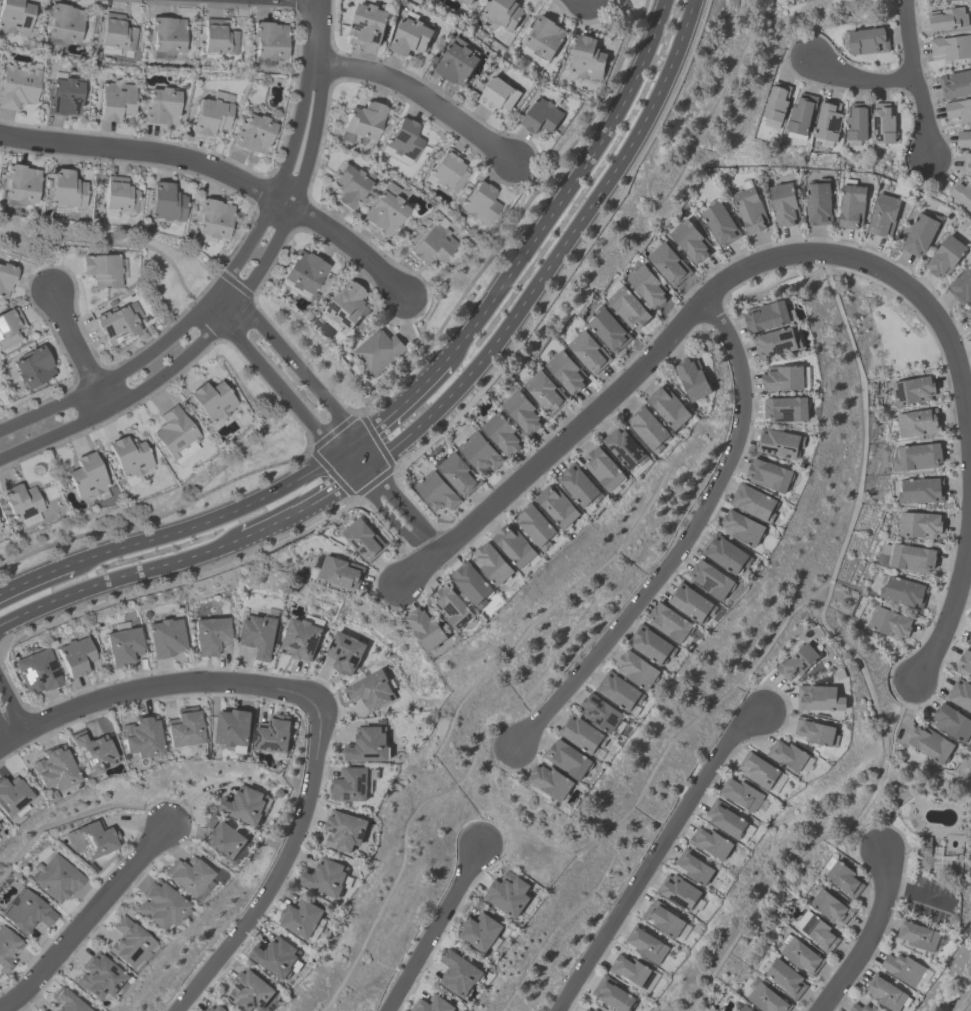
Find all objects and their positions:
building: (465, 1)
building: (503, 13)
building: (14, 16)
building: (948, 17)
building: (369, 22)
building: (62, 23)
road: (317, 31)
building: (116, 32)
building: (166, 35)
building: (410, 36)
building: (544, 36)
building: (217, 38)
building: (868, 39)
building: (268, 40)
building: (952, 46)
building: (586, 58)
building: (456, 62)
road: (859, 77)
road: (914, 80)
building: (955, 82)
building: (17, 86)
building: (498, 94)
road: (421, 96)
building: (63, 97)
building: (114, 100)
building: (776, 101)
building: (160, 107)
building: (959, 108)
building: (801, 111)
building: (541, 115)
building: (210, 116)
building: (827, 119)
building: (857, 120)
building: (361, 122)
building: (882, 122)
road: (296, 130)
building: (253, 133)
road: (313, 135)
building: (964, 136)
building: (403, 139)
road: (150, 153)
building: (966, 161)
building: (447, 170)
building: (19, 183)
building: (347, 185)
road: (566, 188)
building: (64, 190)
building: (962, 192)
building: (118, 195)
building: (818, 201)
building: (164, 202)
building: (479, 203)
building: (784, 203)
building: (852, 205)
building: (750, 209)
building: (384, 210)
building: (883, 214)
building: (212, 218)
building: (719, 223)
building: (920, 233)
building: (690, 240)
building: (432, 242)
road: (350, 245)
road: (113, 246)
road: (559, 249)
road: (833, 253)
building: (945, 255)
road: (50, 259)
building: (667, 263)
building: (101, 270)
building: (302, 271)
building: (5, 278)
park: (771, 283)
building: (646, 285)
building: (962, 285)
building: (345, 305)
building: (627, 307)
building: (968, 314)
building: (768, 315)
building: (116, 322)
building: (8, 327)
building: (606, 328)
park: (883, 328)
road: (161, 341)
building: (776, 342)
road: (77, 350)
building: (378, 350)
building: (588, 351)
road: (174, 364)
building: (32, 367)
building: (565, 371)
building: (692, 377)
building: (783, 377)
building: (912, 389)
building: (544, 391)
building: (211, 401)
road: (401, 403)
building: (668, 406)
building: (786, 408)
building: (522, 411)
road: (334, 412)
building: (917, 422)
building: (647, 427)
road: (316, 429)
building: (502, 432)
building: (175, 435)
building: (779, 442)
building: (625, 447)
building: (479, 451)
building: (915, 456)
building: (129, 457)
building: (604, 469)
building: (458, 473)
building: (769, 474)
building: (85, 476)
building: (579, 484)
building: (920, 489)
building: (435, 491)
building: (21, 501)
road: (310, 501)
building: (754, 501)
building: (557, 505)
road: (219, 516)
building: (919, 523)
building: (534, 525)
building: (741, 527)
building: (0, 531)
building: (363, 538)
road: (684, 539)
building: (514, 544)
building: (726, 552)
building: (912, 557)
building: (492, 563)
road: (419, 564)
building: (338, 569)
road: (120, 577)
road: (34, 578)
building: (710, 579)
building: (471, 583)
building: (903, 590)
building: (690, 602)
building: (452, 606)
building: (669, 621)
building: (889, 622)
building: (426, 627)
building: (259, 634)
building: (209, 635)
building: (302, 636)
building: (164, 638)
building: (969, 639)
building: (651, 644)
building: (122, 646)
building: (344, 651)
building: (75, 656)
building: (797, 661)
building: (965, 662)
building: (636, 668)
building: (37, 671)
road: (152, 684)
building: (370, 689)
building: (619, 690)
building: (960, 693)
building: (819, 697)
building: (600, 712)
building: (952, 721)
road: (6, 723)
building: (183, 727)
building: (233, 727)
building: (814, 730)
building: (582, 733)
building: (272, 734)
building: (140, 737)
building: (930, 743)
building: (367, 744)
building: (90, 752)
building: (788, 753)
building: (568, 758)
building: (52, 768)
building: (758, 769)
building: (551, 781)
building: (352, 783)
building: (741, 793)
building: (11, 796)
building: (244, 804)
building: (726, 818)
building: (343, 829)
building: (0, 831)
building: (92, 838)
building: (223, 841)
building: (710, 841)
road: (653, 855)
building: (693, 865)
road: (279, 868)
building: (185, 875)
building: (325, 876)
building: (842, 877)
building: (56, 878)
building: (678, 891)
building: (508, 892)
road: (918, 894)
building: (159, 906)
building: (831, 906)
building: (27, 912)
building: (301, 917)
building: (662, 917)
road: (87, 920)
road: (433, 928)
building: (816, 930)
building: (479, 931)
building: (917, 933)
road: (868, 934)
building: (127, 943)
building: (646, 943)
building: (7, 949)
building: (800, 954)
building: (276, 956)
building: (903, 967)
building: (629, 968)
building: (458, 972)
building: (98, 977)
building: (785, 977)
building: (249, 990)
building: (886, 992)
building: (612, 994)
building: (767, 998)
building: (65, 1001)
building: (432, 1004)
building: (215, 1007)
building: (861, 1007)
building: (745, 1008)
building: (586, 1009)
building: (594, 1009)

